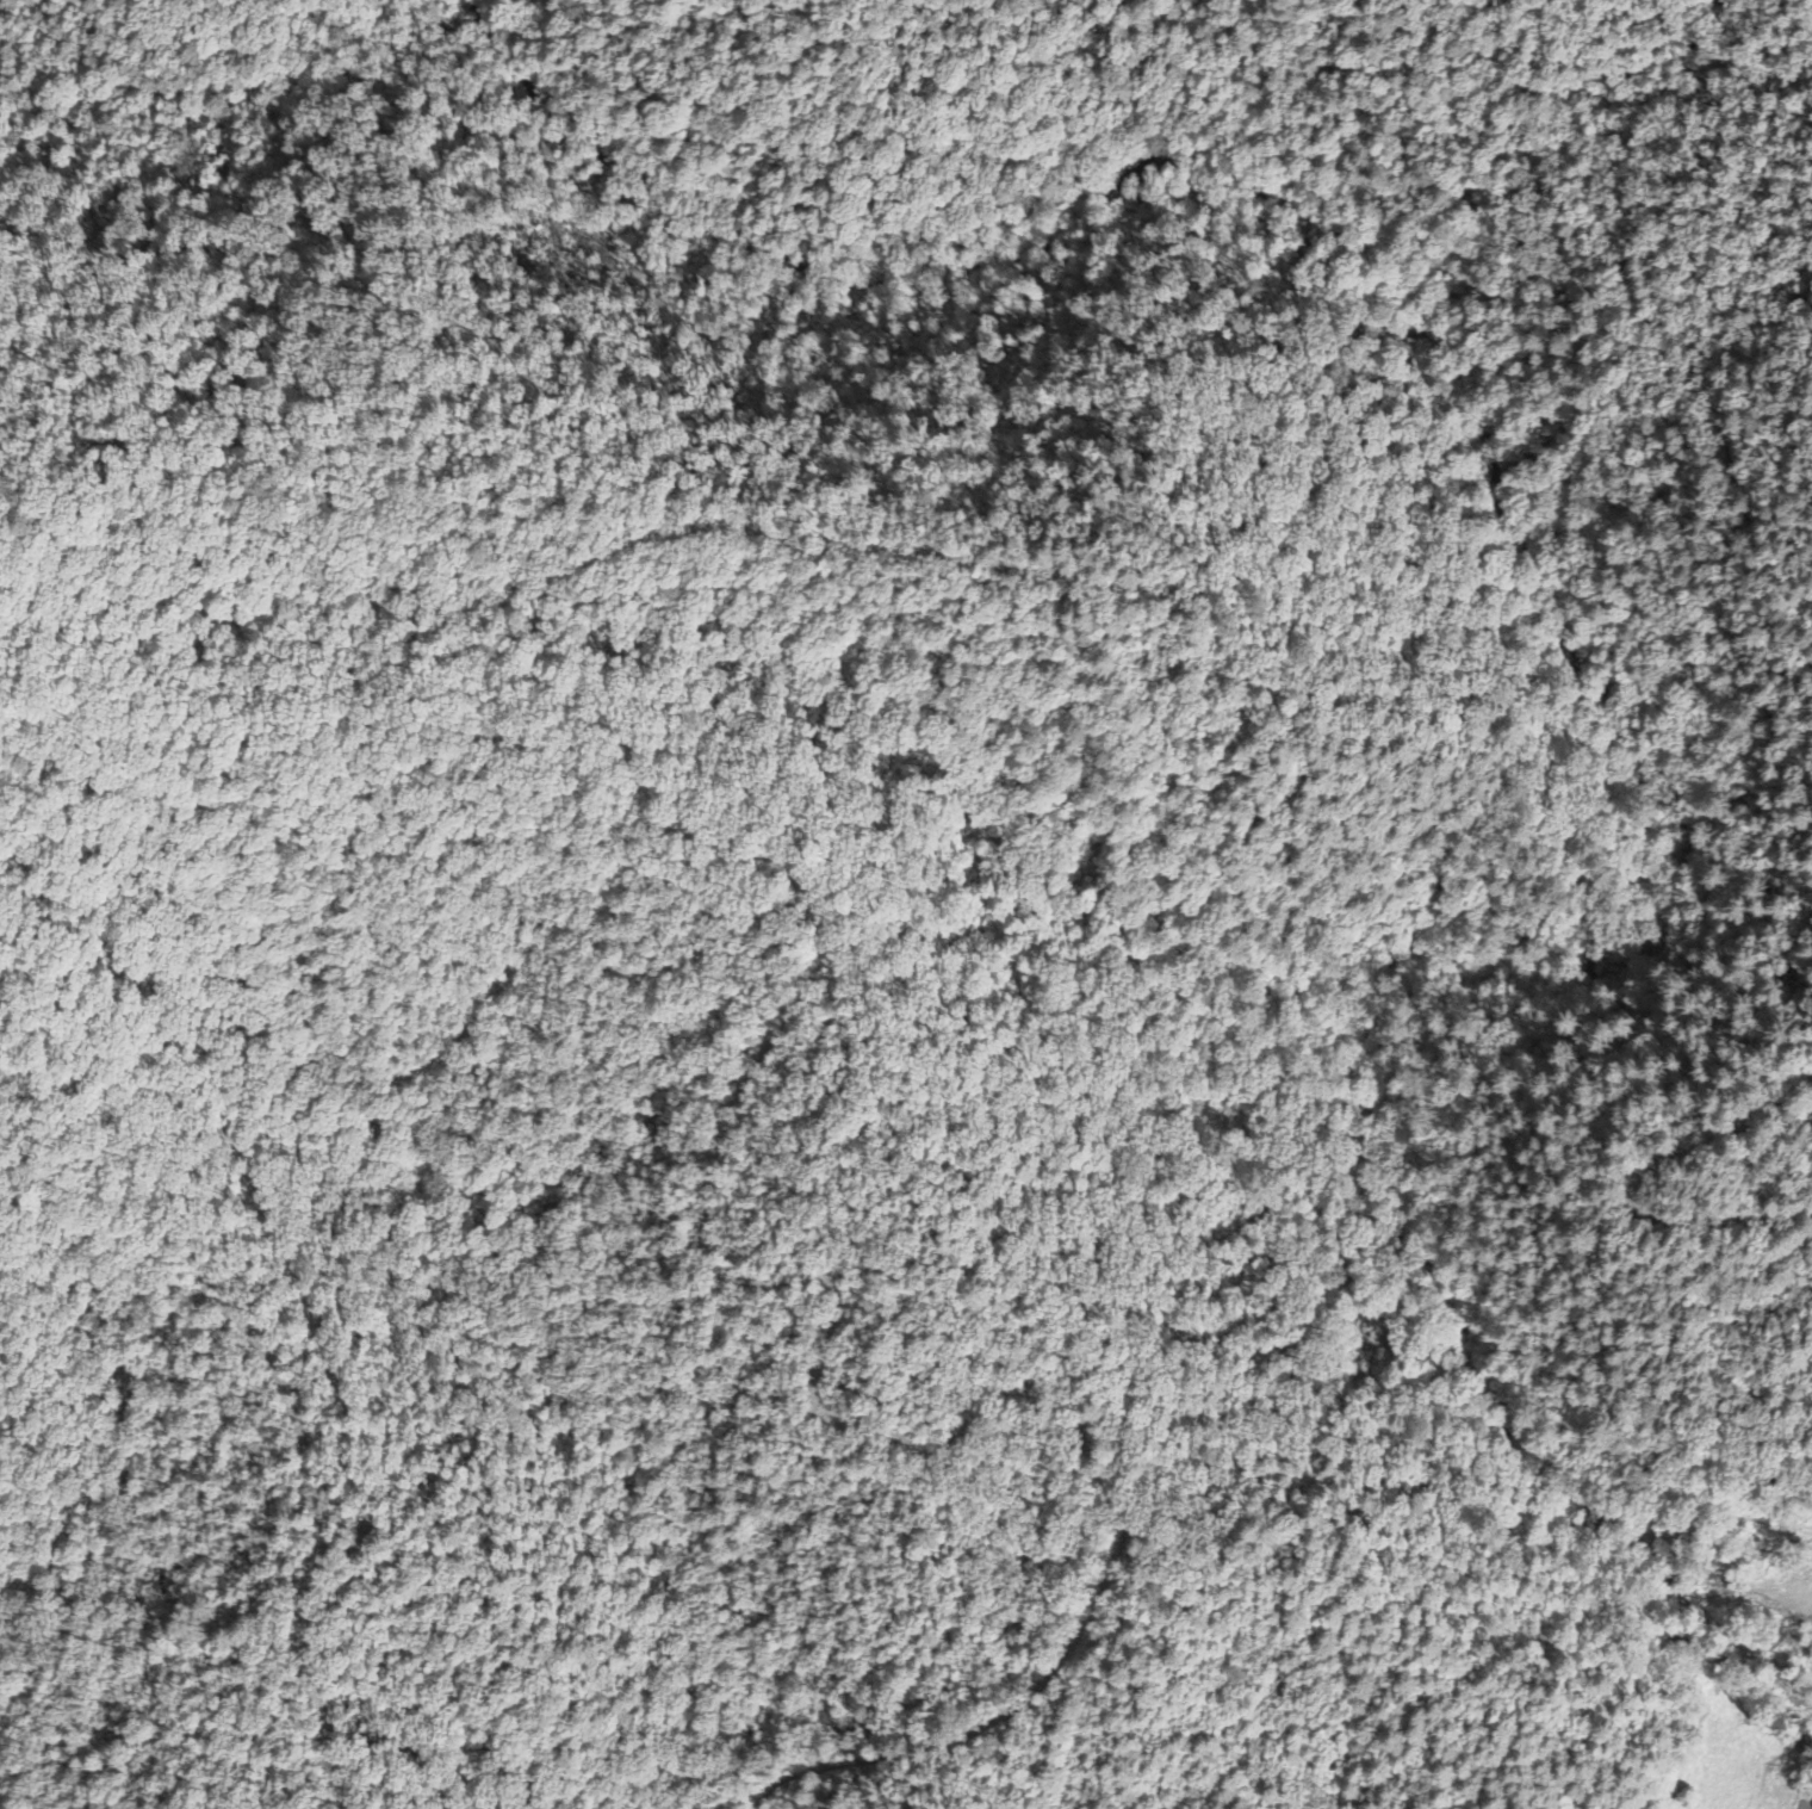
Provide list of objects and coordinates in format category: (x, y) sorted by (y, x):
road: (225, 1068)
road: (905, 1438)

